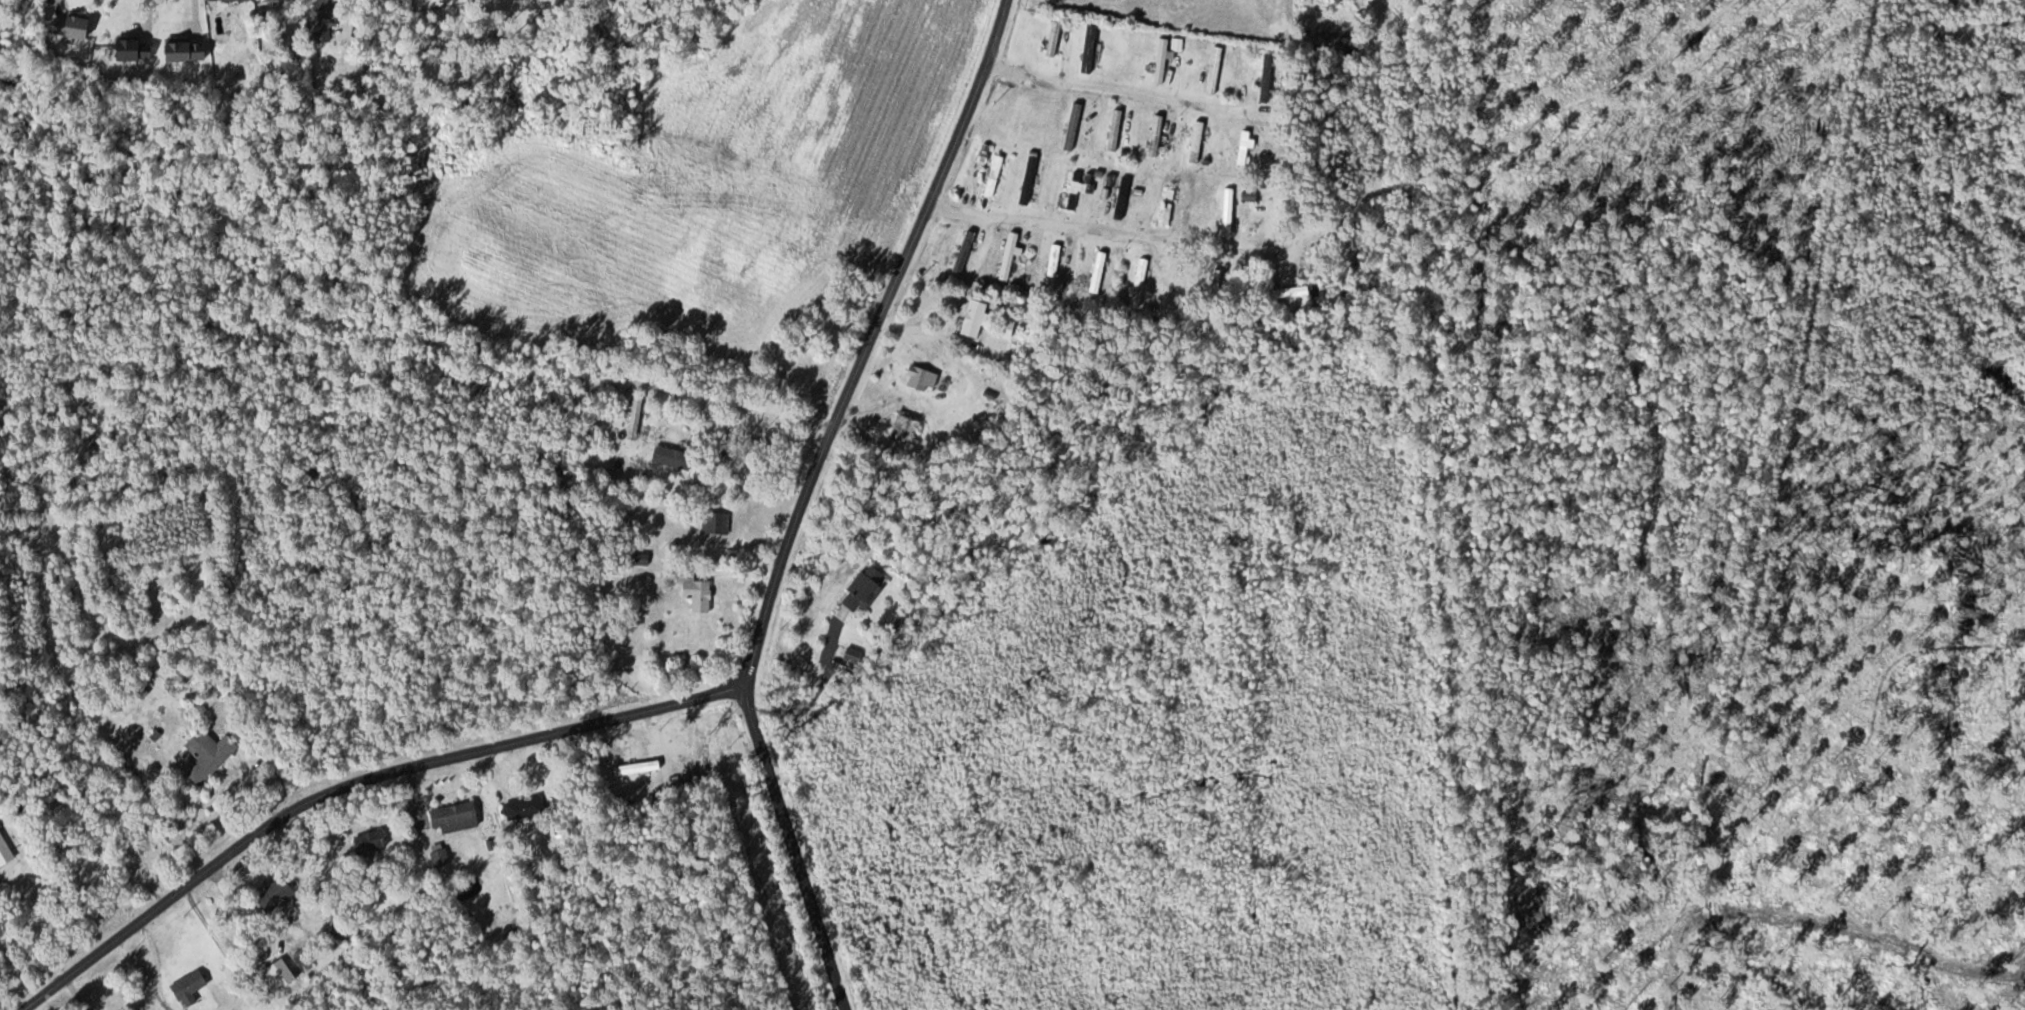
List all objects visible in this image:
building: (320, 19)
building: (65, 25)
building: (1052, 37)
building: (126, 48)
building: (178, 49)
building: (1159, 59)
building: (1211, 68)
building: (1265, 75)
road: (1108, 90)
building: (1017, 117)
building: (1070, 125)
building: (1112, 125)
building: (1154, 135)
building: (1194, 140)
building: (1241, 145)
building: (992, 175)
building: (1026, 179)
building: (1077, 186)
building: (1120, 197)
building: (1166, 205)
building: (1225, 210)
road: (1100, 232)
building: (961, 251)
building: (1006, 255)
building: (1052, 259)
building: (1095, 269)
building: (1137, 281)
building: (1284, 291)
building: (971, 317)
building: (919, 378)
building: (633, 418)
building: (899, 428)
building: (667, 458)
building: (713, 521)
building: (861, 587)
building: (694, 592)
road: (708, 698)
building: (205, 754)
building: (634, 767)
building: (521, 806)
building: (451, 816)
building: (366, 840)
building: (2, 847)
road: (793, 850)
building: (437, 856)
building: (269, 894)
building: (339, 931)
building: (185, 987)

